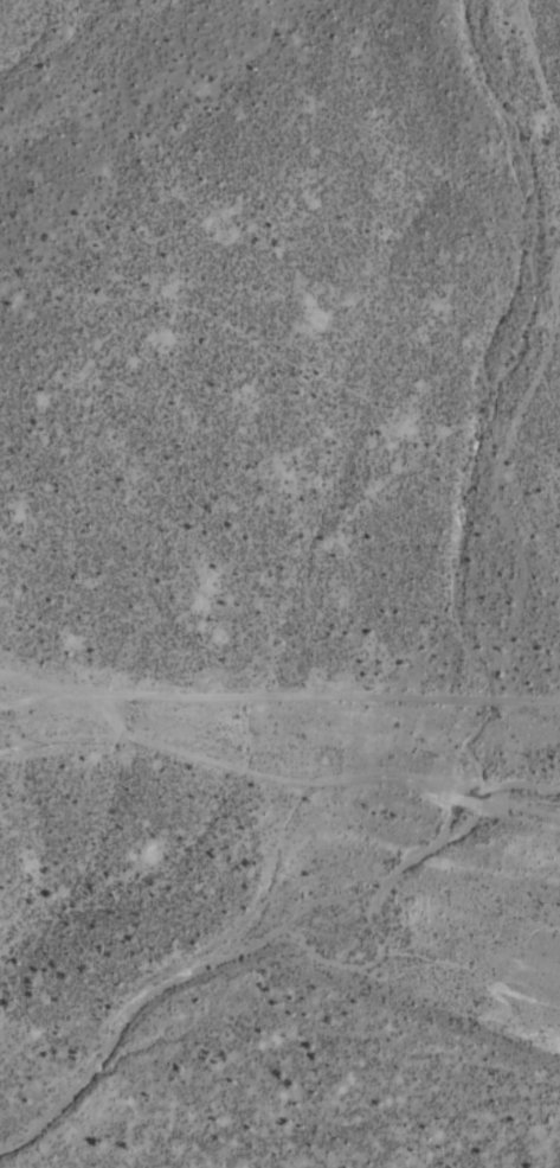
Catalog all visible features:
road: (500, 349)
road: (279, 701)
road: (269, 779)
road: (251, 949)

